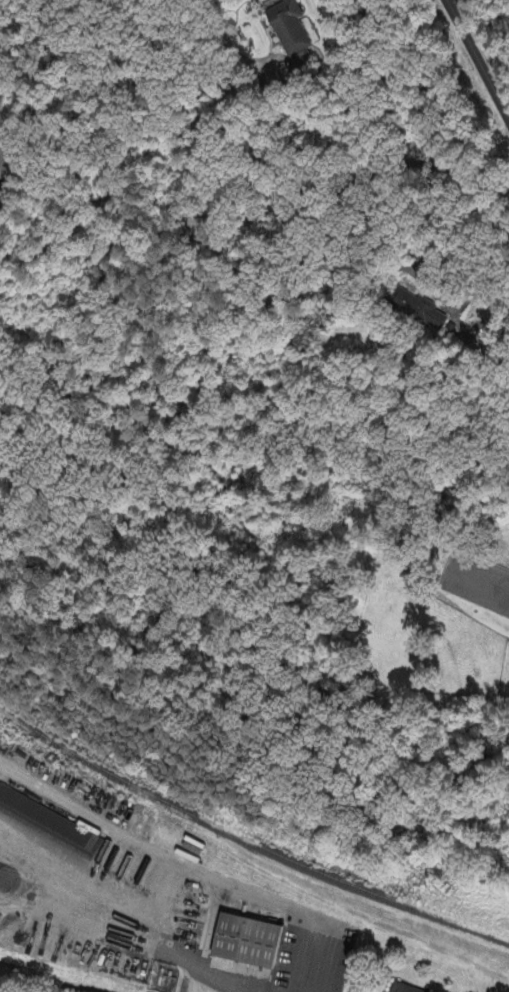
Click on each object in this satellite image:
building: (289, 30)
road: (226, 44)
road: (474, 66)
road: (168, 133)
road: (362, 180)
building: (3, 190)
building: (417, 310)
building: (53, 823)
railway: (247, 842)
road: (196, 873)
road: (121, 912)
building: (250, 941)
road: (301, 952)
building: (406, 988)

